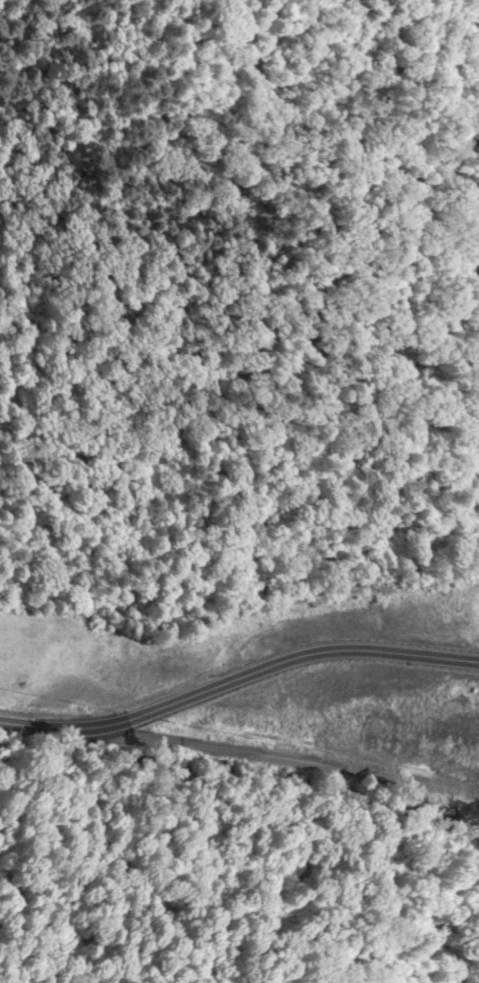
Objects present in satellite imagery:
road: (236, 675)

